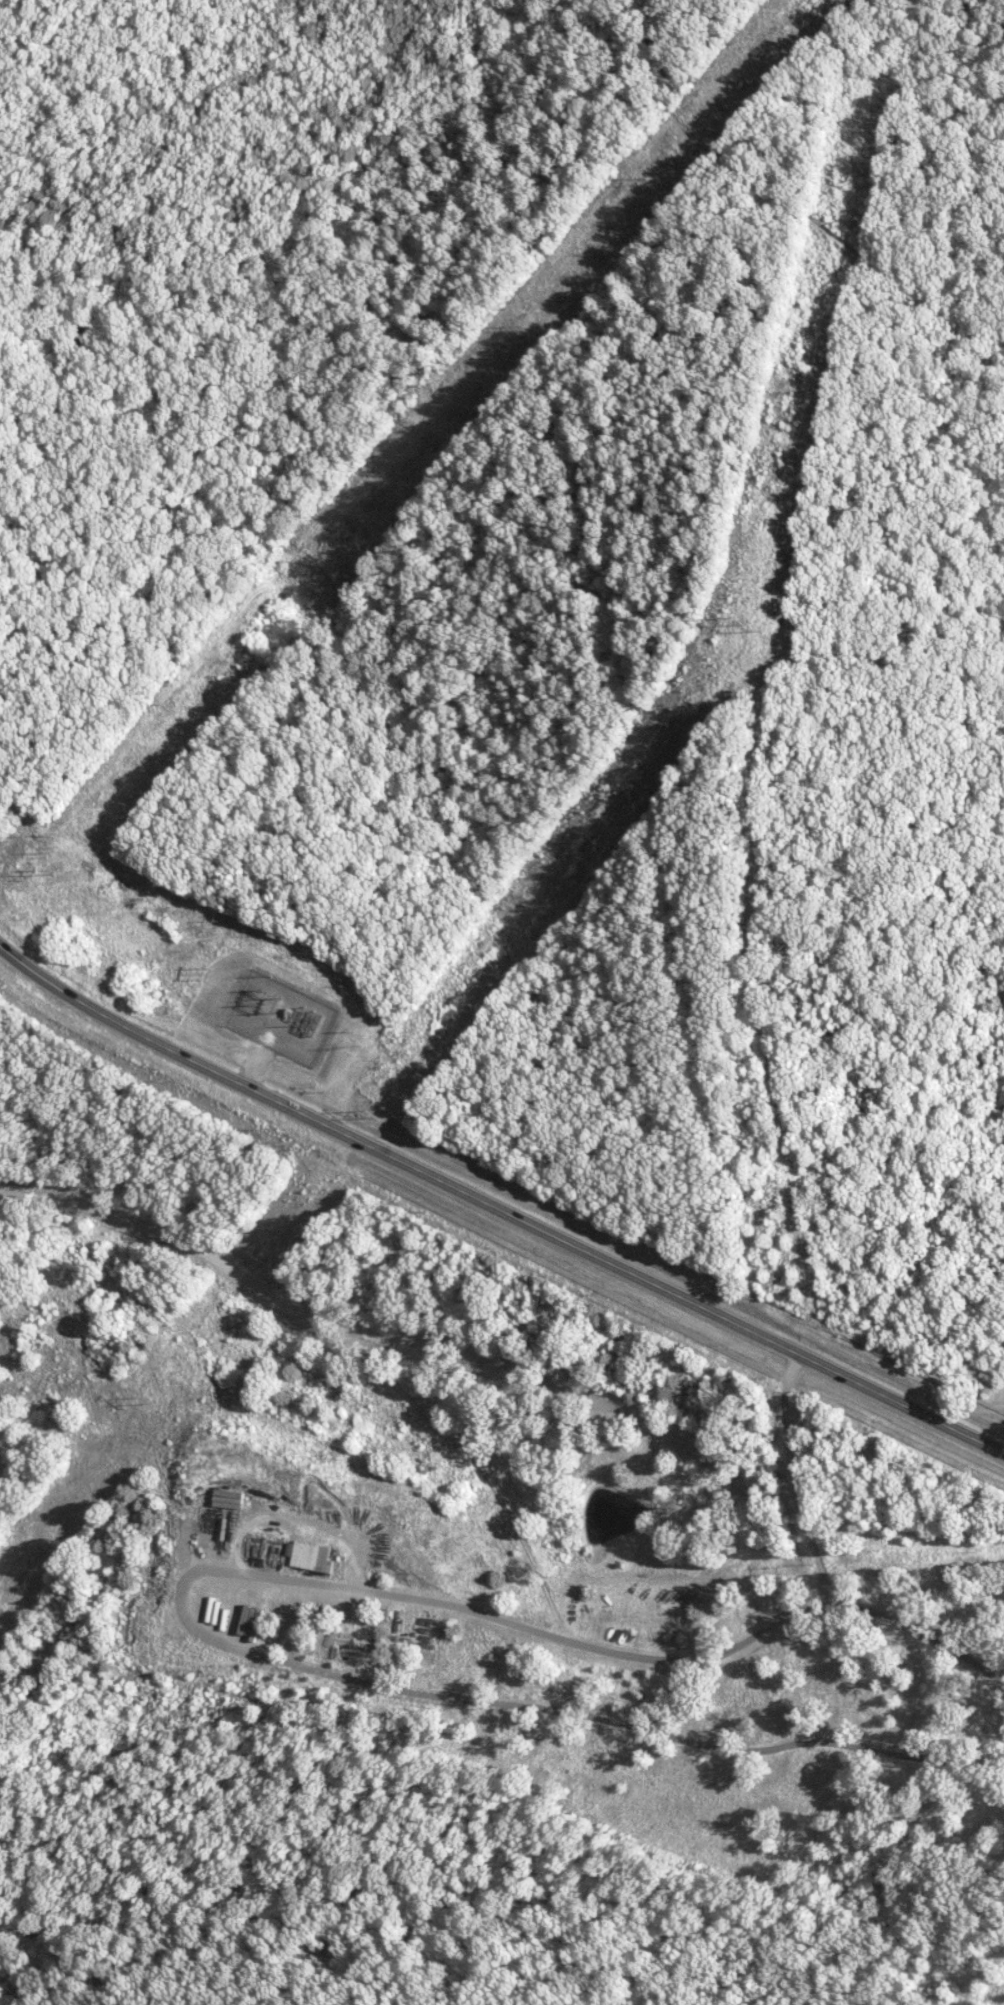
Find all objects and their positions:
power tower: (651, 180)
power tower: (520, 327)
power tower: (740, 623)
power tower: (49, 871)
power tower: (210, 972)
power substation: (282, 1016)
road: (260, 1054)
power tower: (367, 1112)
road: (496, 1206)
power tower: (147, 1400)
road: (792, 1479)
road: (697, 1664)

